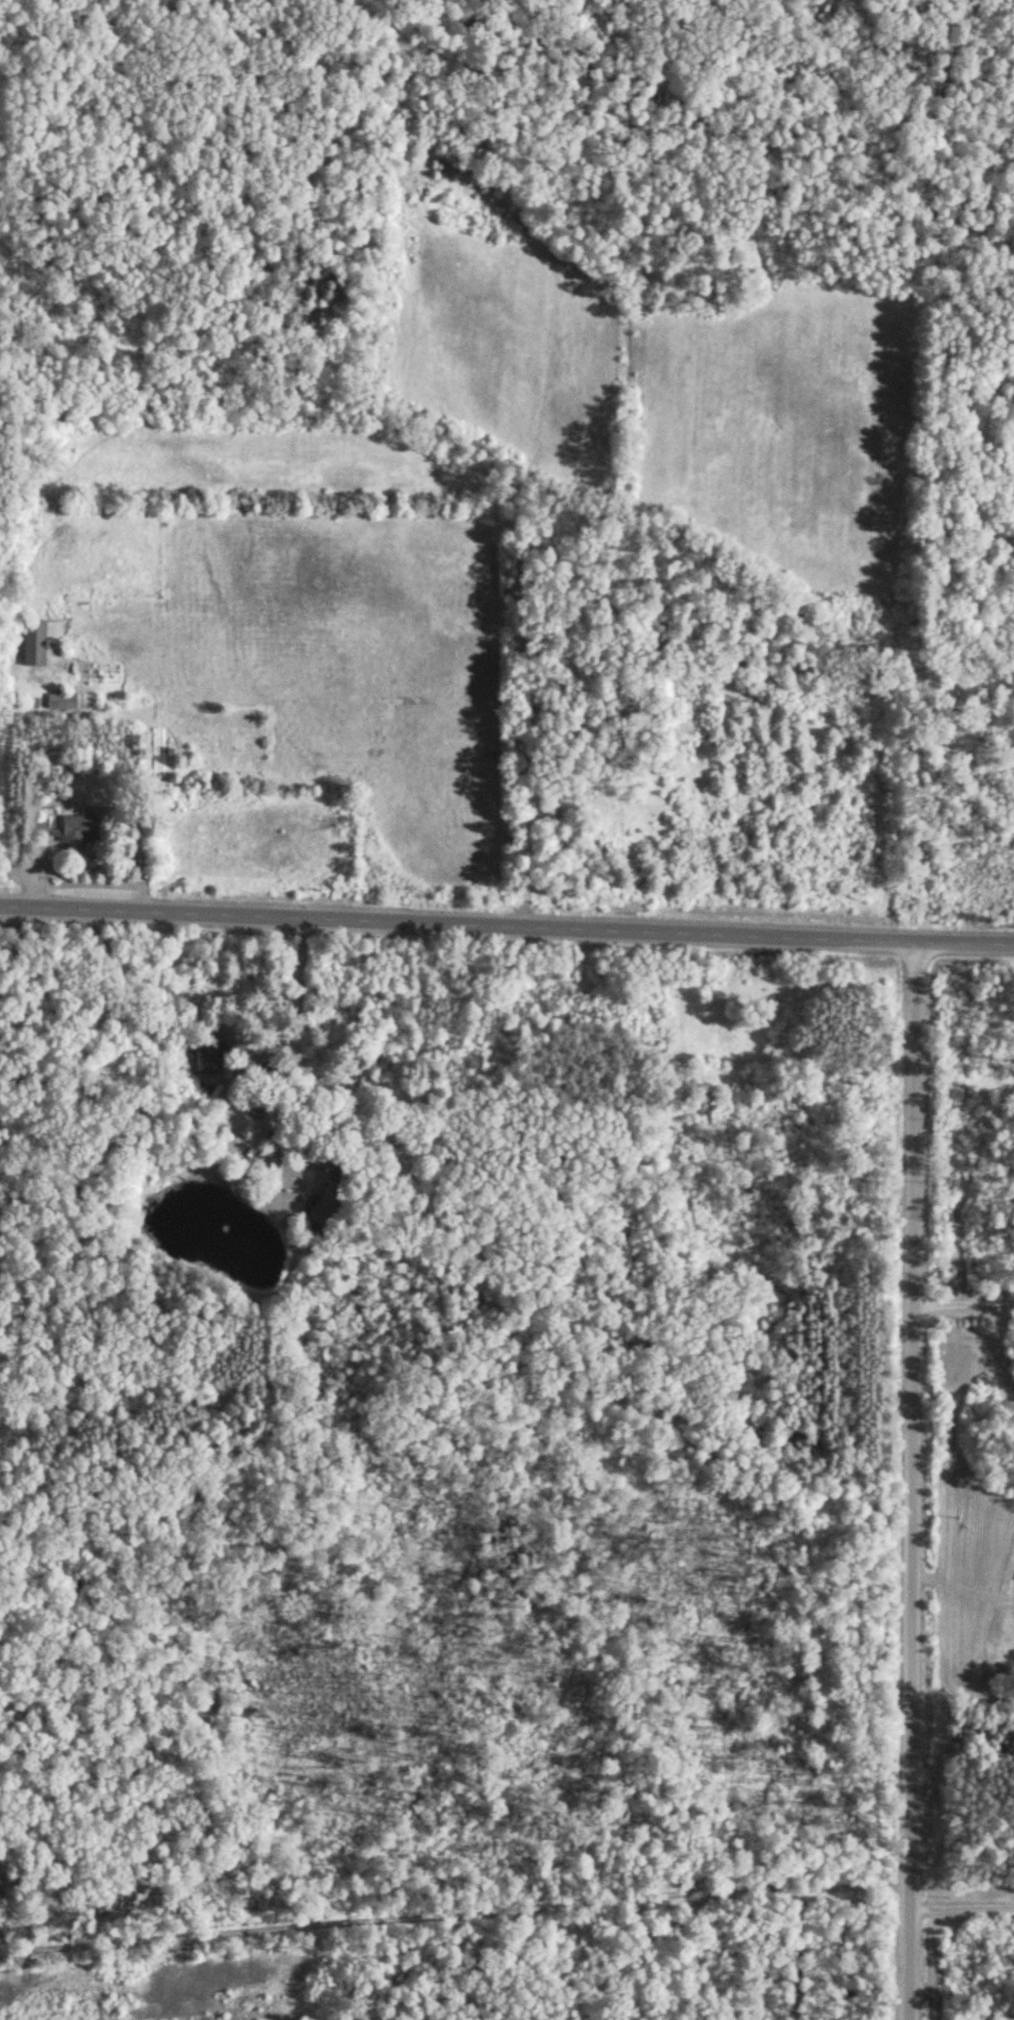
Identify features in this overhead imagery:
building: (37, 641)
building: (63, 701)
building: (33, 825)
building: (73, 828)
road: (506, 925)
building: (208, 1054)
road: (910, 1480)
road: (958, 1903)

